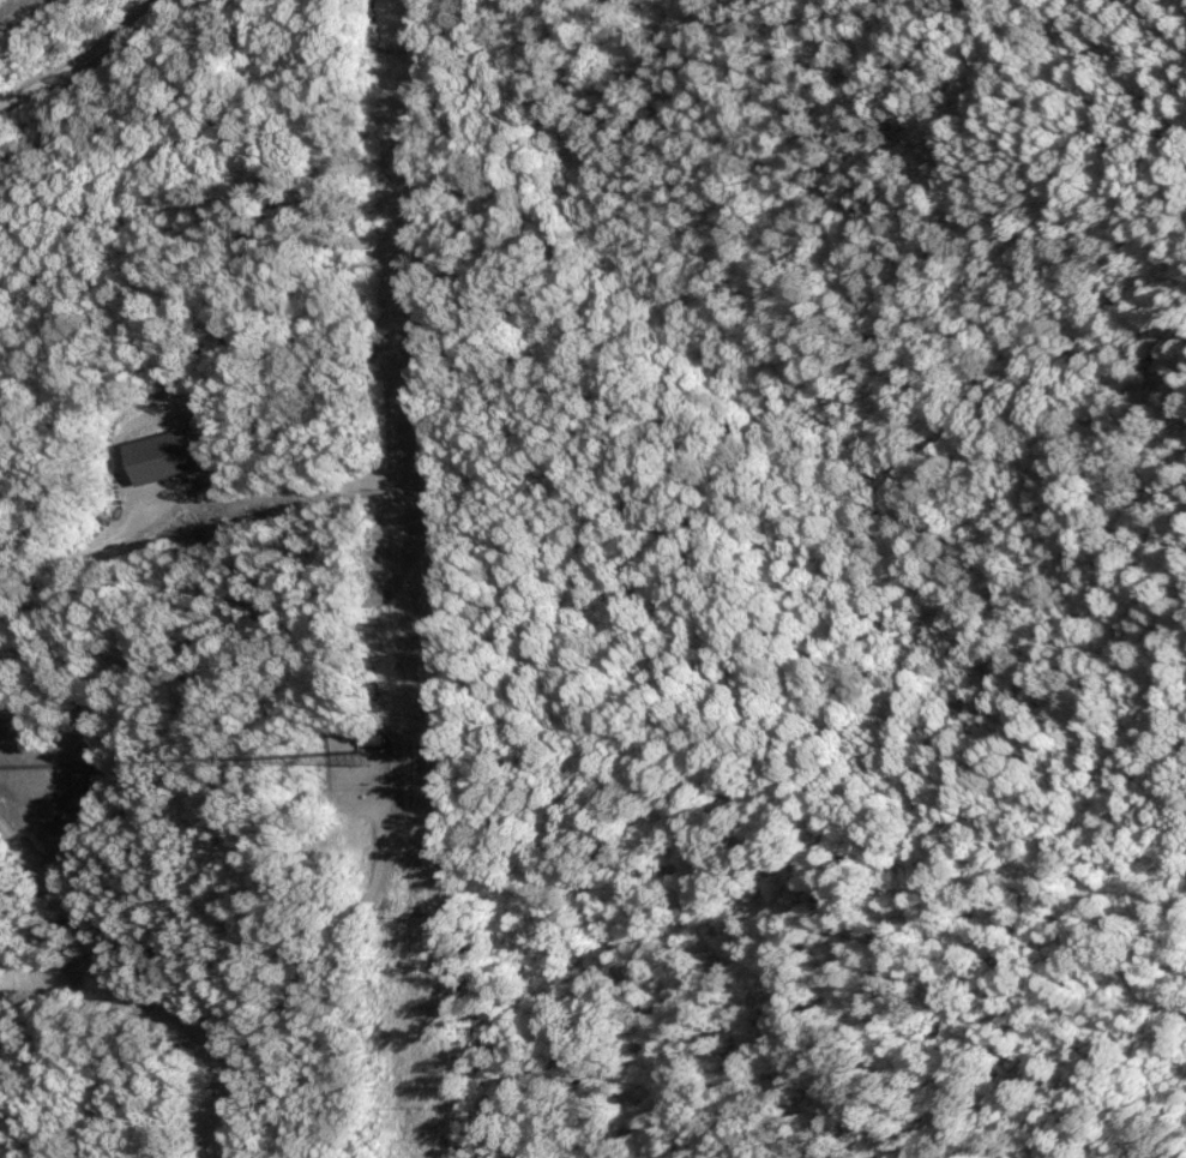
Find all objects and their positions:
road: (78, 61)
road: (289, 995)

